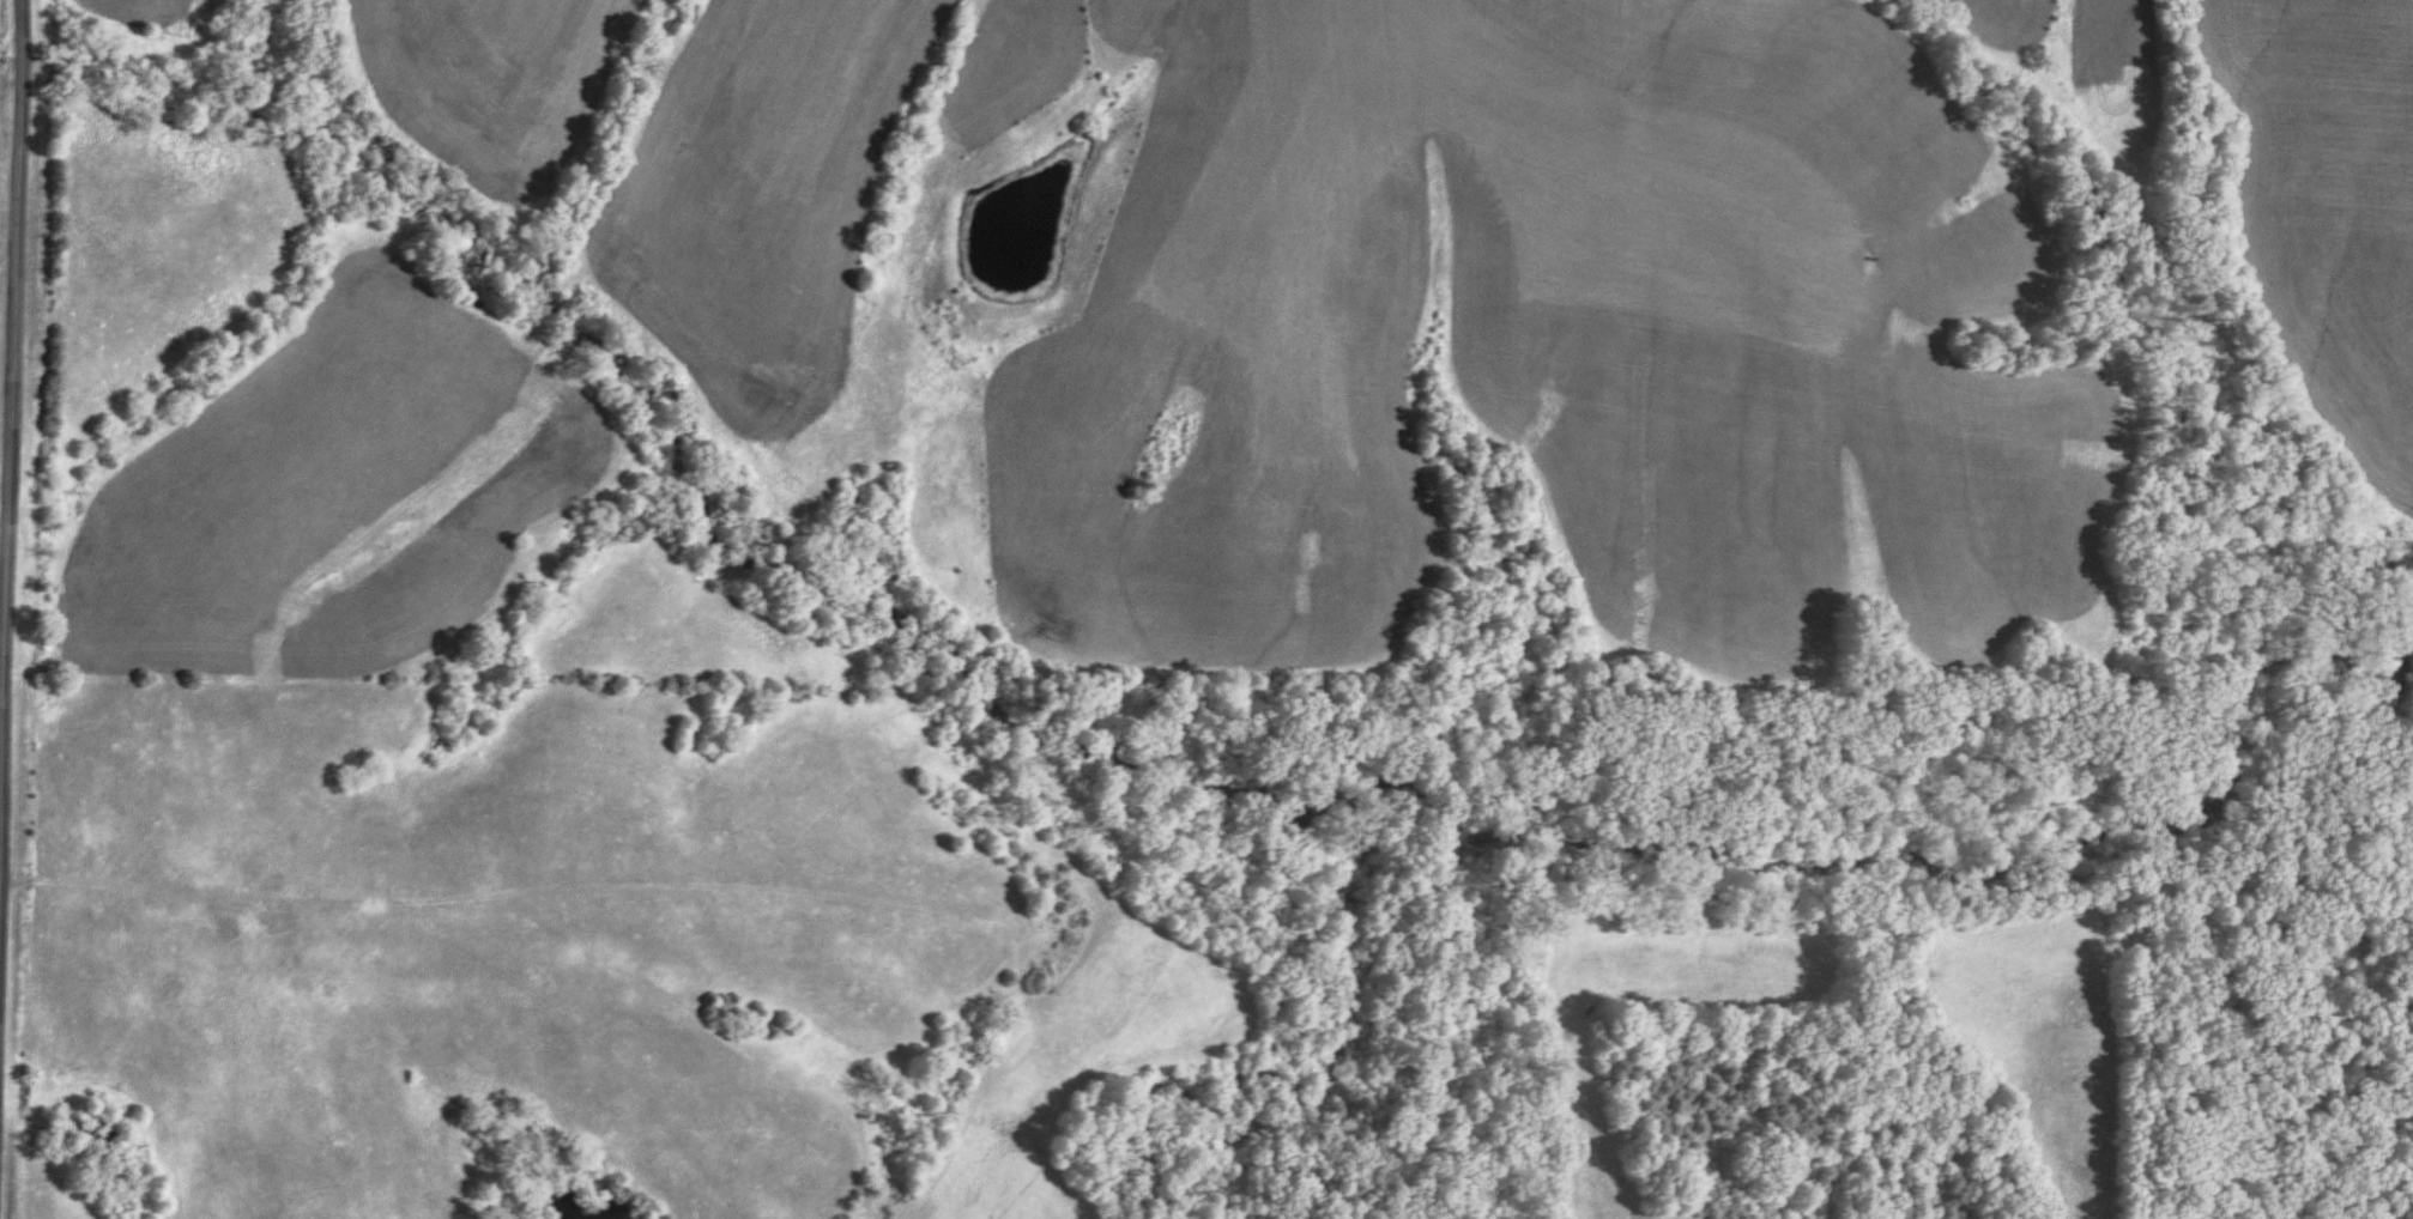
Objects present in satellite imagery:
road: (8, 381)

